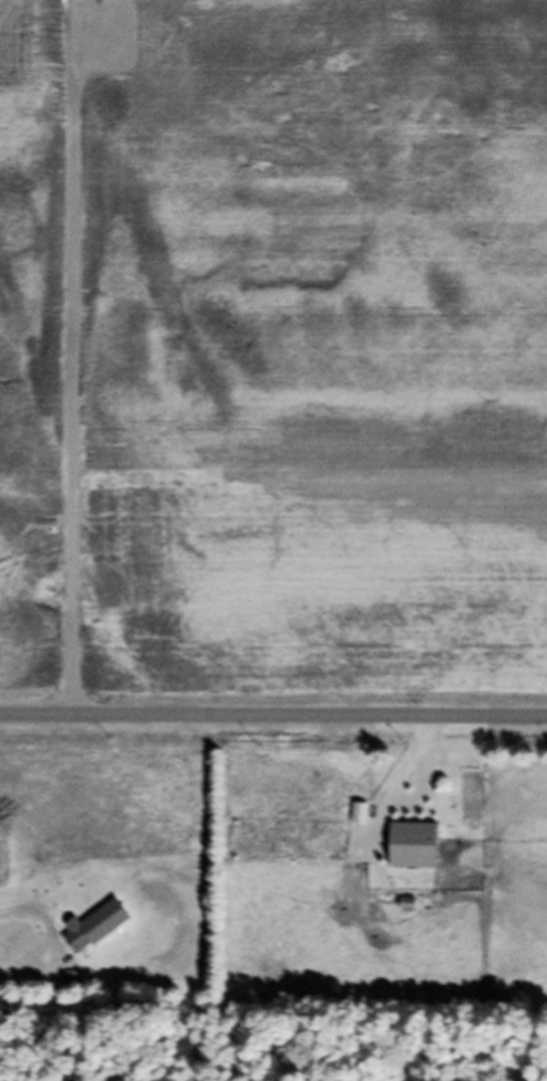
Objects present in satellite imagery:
building: (148, 48)
road: (74, 369)
road: (273, 716)
building: (404, 853)

